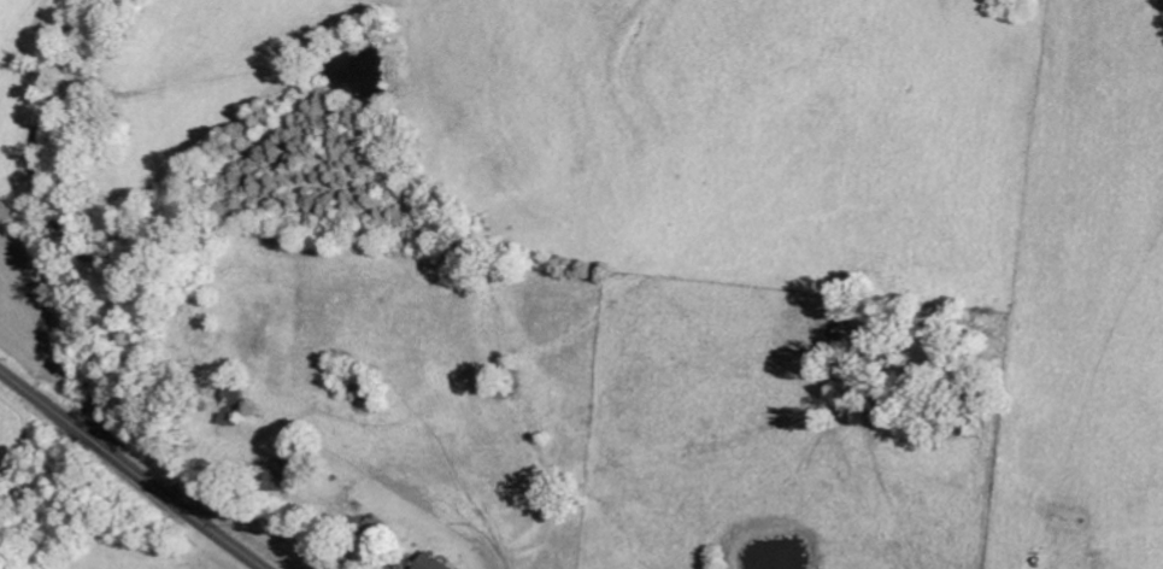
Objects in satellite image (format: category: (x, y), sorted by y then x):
road: (133, 469)
building: (287, 477)
building: (436, 563)

